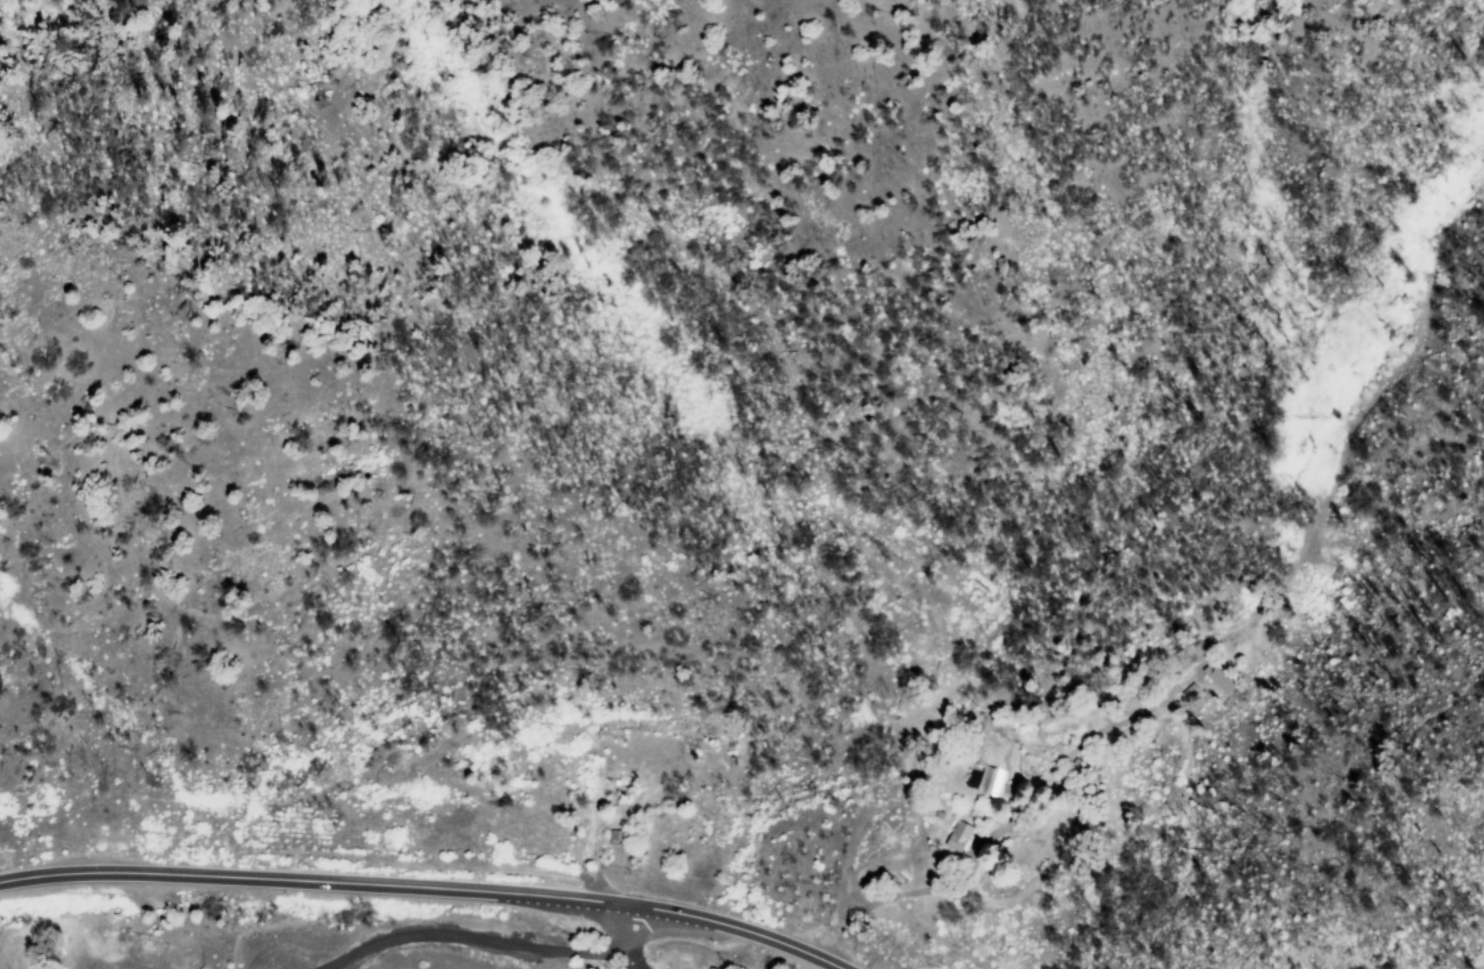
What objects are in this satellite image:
building: (1218, 680)
building: (1190, 692)
building: (985, 780)
building: (958, 836)
road: (425, 887)

